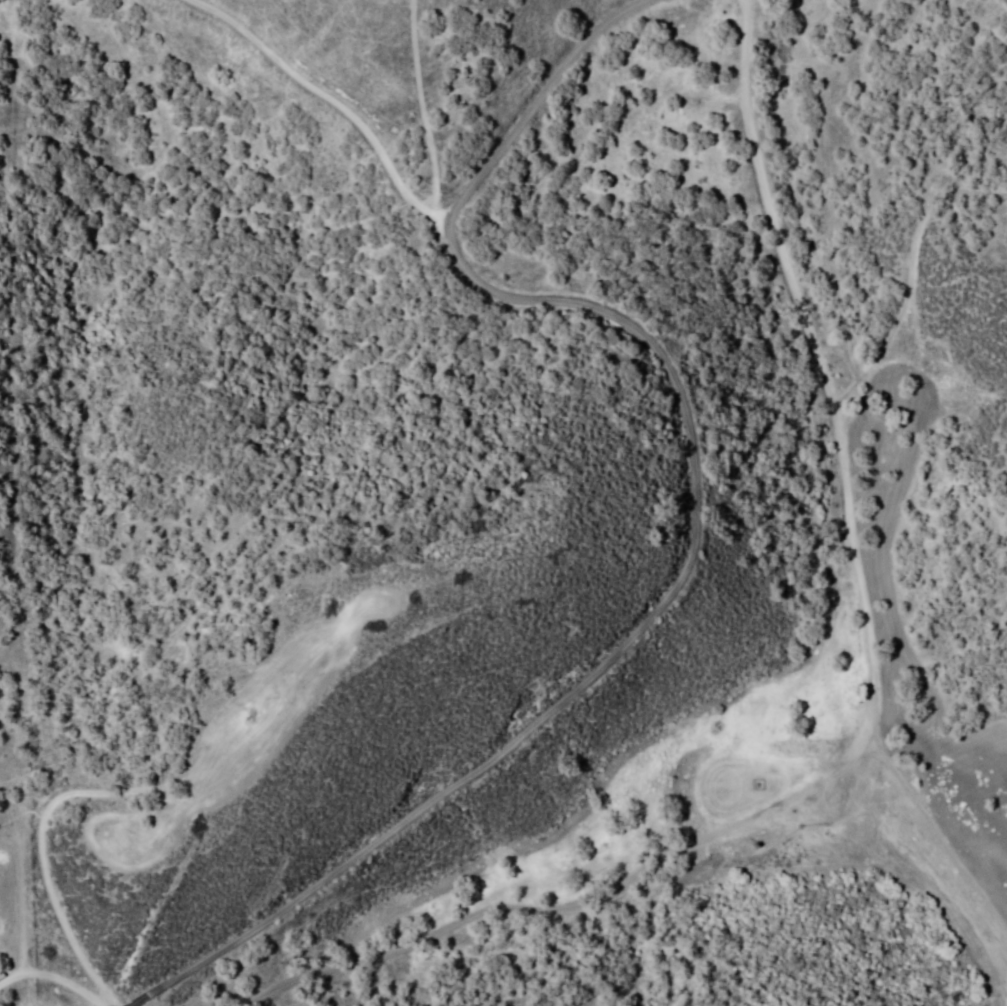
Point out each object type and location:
road: (852, 490)
road: (653, 573)
road: (118, 1004)

